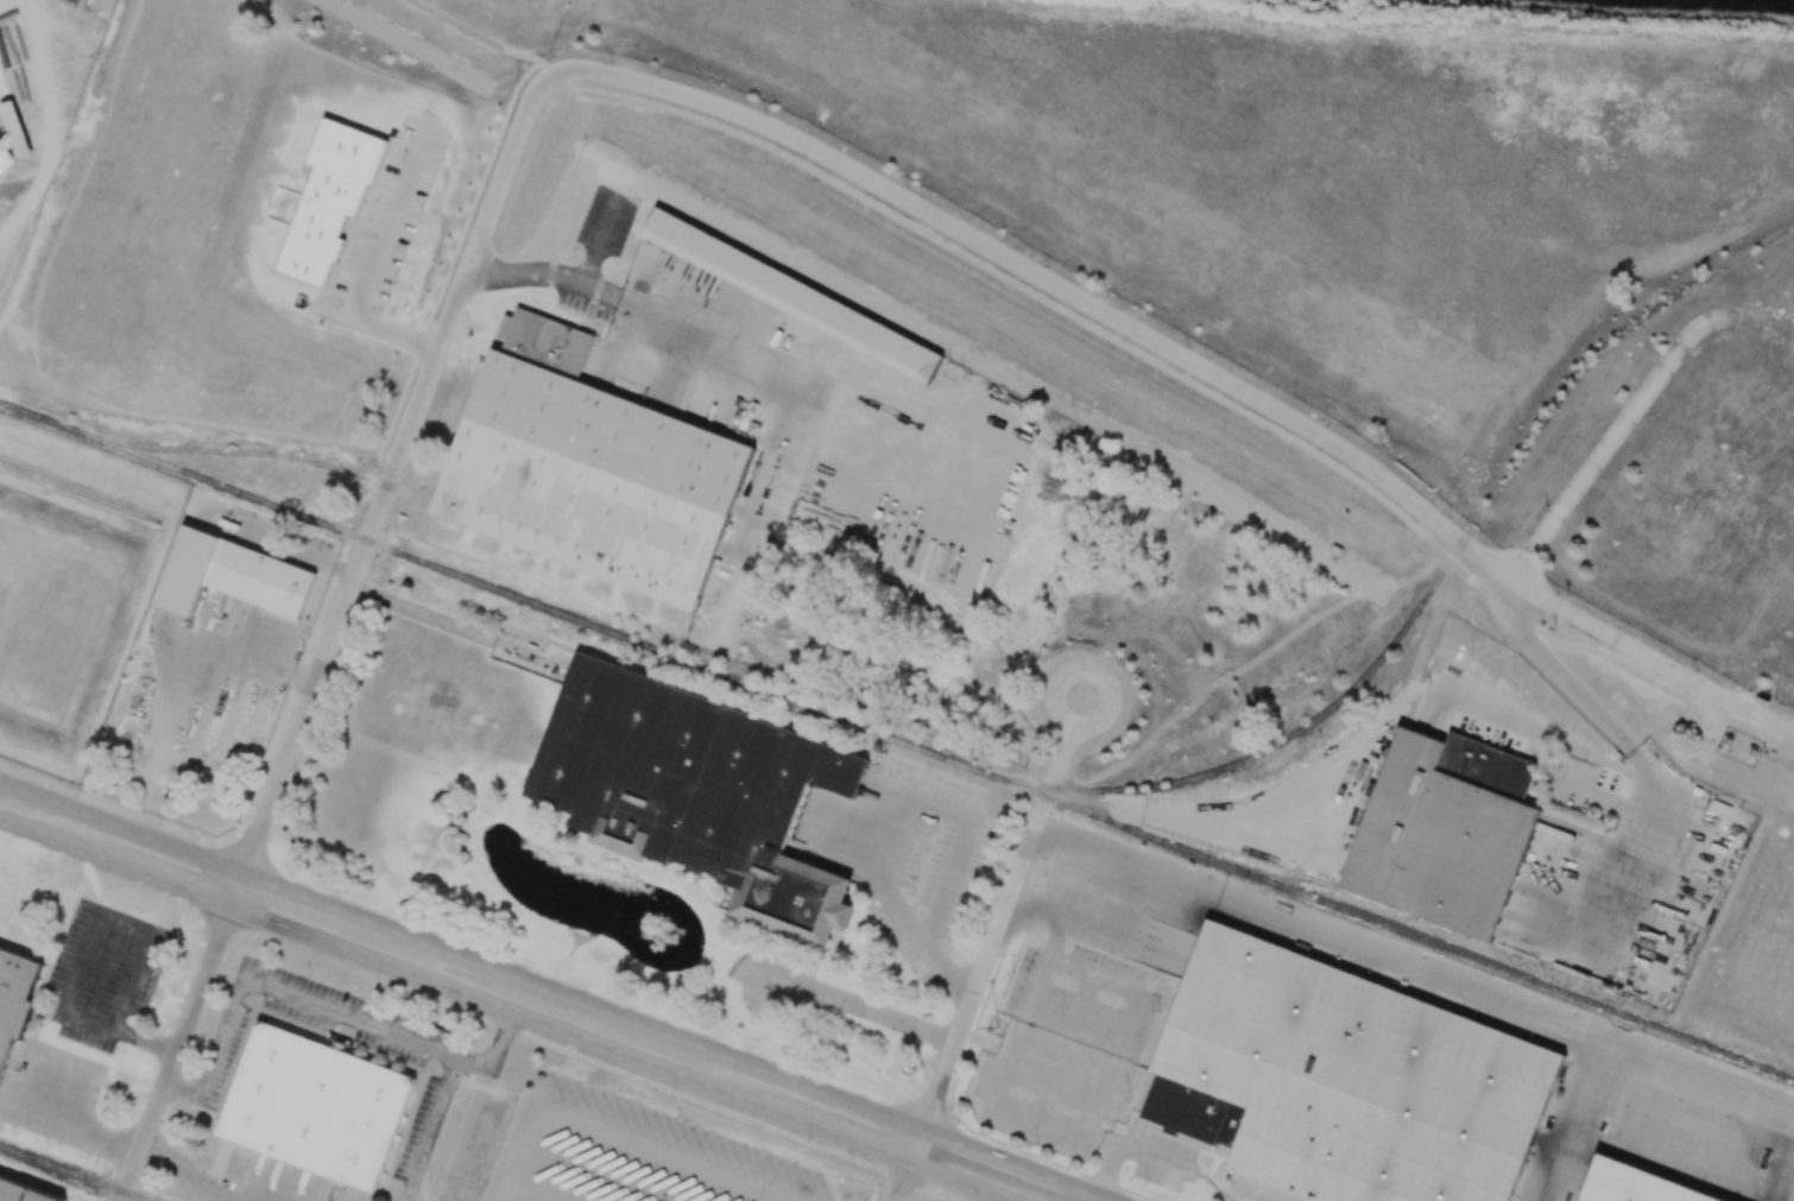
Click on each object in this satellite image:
road: (481, 39)
road: (49, 122)
building: (12, 147)
building: (328, 200)
road: (372, 260)
road: (589, 287)
building: (796, 295)
building: (547, 342)
road: (1195, 366)
road: (1190, 384)
railway: (261, 455)
road: (1603, 455)
road: (394, 468)
building: (596, 482)
railway: (81, 492)
building: (192, 570)
building: (265, 580)
road: (1566, 687)
railway: (896, 740)
railway: (1250, 759)
street lamp: (13, 767)
building: (702, 795)
street lamp: (159, 823)
road: (120, 830)
road: (32, 832)
building: (1440, 834)
road: (1637, 848)
road: (1087, 856)
street lamp: (64, 860)
road: (146, 876)
street lamp: (324, 890)
road: (235, 892)
railway: (1365, 905)
road: (320, 906)
road: (902, 909)
street lamp: (188, 910)
road: (1003, 910)
road: (88, 931)
street lamp: (469, 941)
road: (1055, 941)
parking lot: (776, 974)
street lamp: (378, 978)
road: (783, 982)
building: (13, 995)
street lamp: (619, 1000)
road: (121, 1003)
road: (487, 1003)
road: (317, 1006)
road: (870, 1014)
street lamp: (523, 1030)
road: (659, 1034)
road: (146, 1036)
street lamp: (754, 1048)
road: (175, 1054)
road: (1005, 1058)
building: (1347, 1080)
street lamp: (672, 1087)
building: (316, 1106)
road: (77, 1120)
road: (1057, 1120)
road: (827, 1130)
street lamp: (809, 1139)
road: (915, 1146)
parking lot: (634, 1149)
road: (996, 1159)
street lamp: (1069, 1165)
road: (184, 1167)
road: (1107, 1170)
railway: (72, 1172)
road: (901, 1181)
road: (961, 1181)
building: (1626, 1186)
building: (24, 1191)
road: (1088, 1194)

